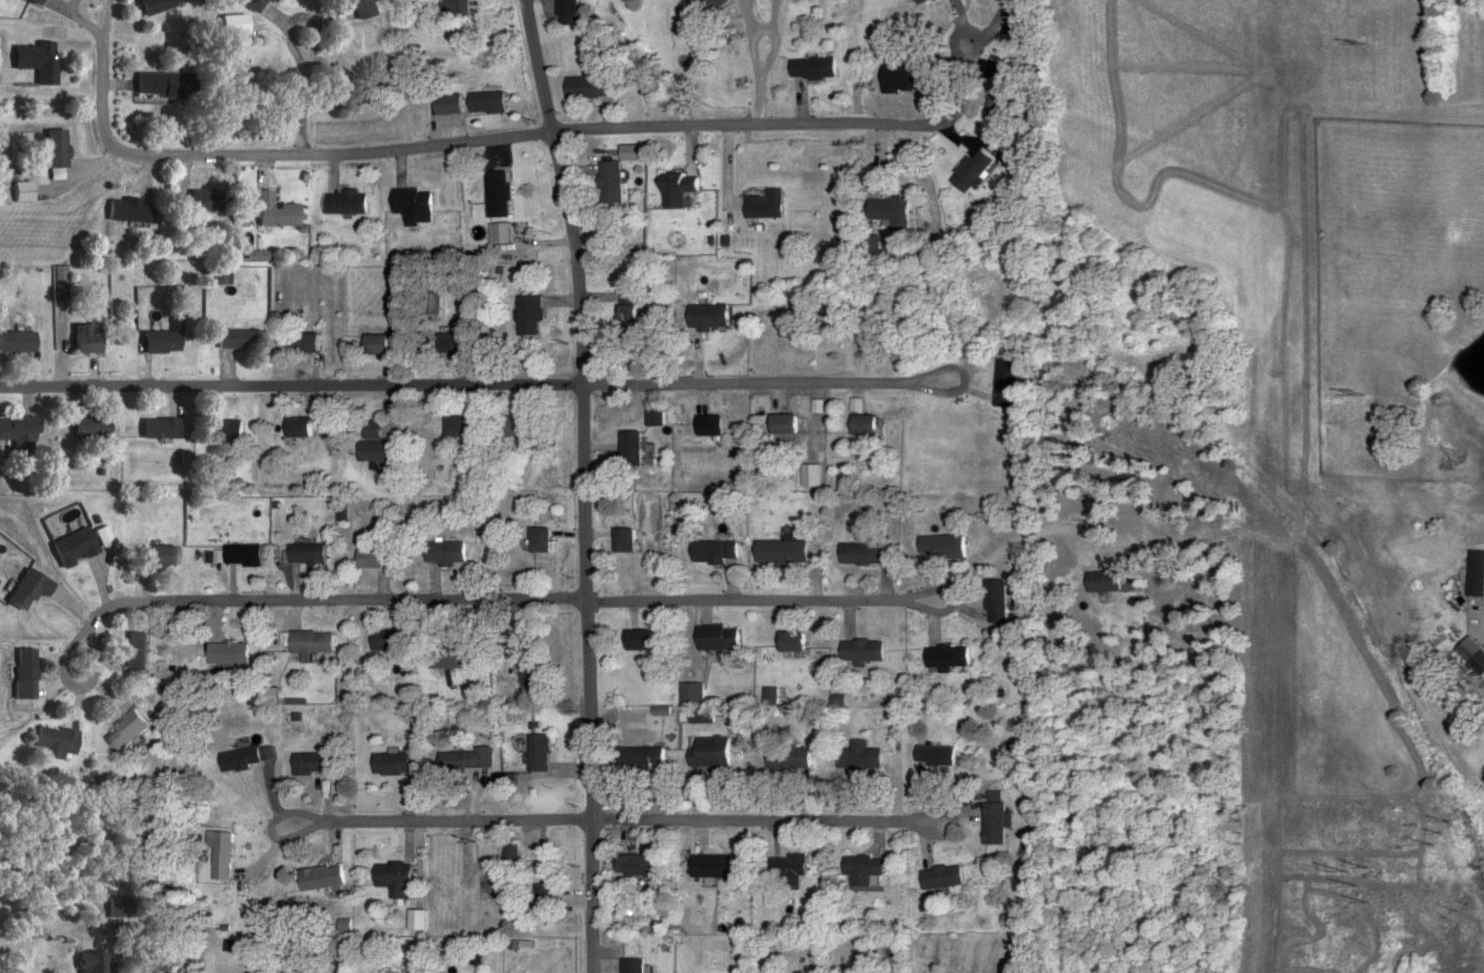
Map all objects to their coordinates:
building: (38, 1)
building: (808, 1)
building: (916, 2)
building: (257, 4)
building: (702, 5)
building: (156, 6)
building: (464, 6)
building: (363, 8)
building: (570, 12)
road: (95, 36)
building: (39, 61)
building: (809, 69)
building: (337, 73)
building: (901, 80)
building: (167, 85)
building: (595, 88)
road: (610, 101)
building: (495, 103)
building: (456, 104)
road: (761, 104)
road: (748, 130)
building: (58, 150)
road: (277, 157)
building: (968, 171)
building: (616, 183)
building: (682, 190)
building: (24, 193)
building: (505, 195)
building: (199, 202)
building: (420, 202)
building: (351, 204)
building: (761, 206)
building: (885, 210)
building: (129, 211)
building: (275, 213)
building: (869, 246)
building: (59, 283)
building: (440, 303)
building: (635, 309)
building: (533, 316)
building: (712, 316)
building: (88, 340)
building: (242, 341)
building: (17, 343)
building: (163, 343)
building: (312, 343)
building: (458, 344)
building: (383, 345)
building: (894, 353)
building: (1002, 383)
road: (769, 385)
road: (292, 386)
building: (659, 418)
building: (777, 424)
building: (705, 425)
building: (858, 425)
building: (466, 426)
building: (525, 426)
building: (93, 427)
building: (304, 427)
building: (162, 428)
building: (378, 429)
building: (228, 431)
building: (19, 432)
building: (640, 448)
building: (382, 451)
road: (587, 483)
building: (104, 536)
building: (550, 540)
building: (632, 540)
road: (1031, 540)
building: (936, 546)
building: (76, 547)
building: (711, 551)
building: (448, 552)
building: (777, 552)
building: (863, 553)
building: (312, 554)
building: (246, 555)
building: (160, 556)
building: (376, 557)
building: (1474, 573)
building: (1099, 581)
building: (29, 589)
building: (991, 600)
road: (764, 601)
road: (333, 603)
road: (1477, 618)
building: (713, 637)
building: (388, 640)
building: (640, 640)
building: (786, 640)
building: (313, 642)
building: (136, 650)
building: (858, 650)
building: (230, 653)
building: (448, 655)
building: (1470, 655)
building: (941, 656)
building: (532, 668)
building: (25, 673)
road: (85, 685)
building: (128, 730)
building: (57, 742)
building: (707, 752)
building: (543, 753)
building: (931, 755)
building: (648, 756)
building: (784, 758)
building: (241, 759)
building: (854, 759)
building: (464, 760)
building: (315, 762)
building: (394, 764)
road: (765, 820)
road: (440, 822)
building: (990, 823)
building: (222, 855)
building: (515, 855)
building: (643, 865)
building: (711, 866)
building: (784, 869)
building: (858, 869)
building: (324, 877)
building: (937, 877)
building: (399, 878)
building: (549, 896)
building: (421, 920)
building: (94, 962)
building: (638, 965)

